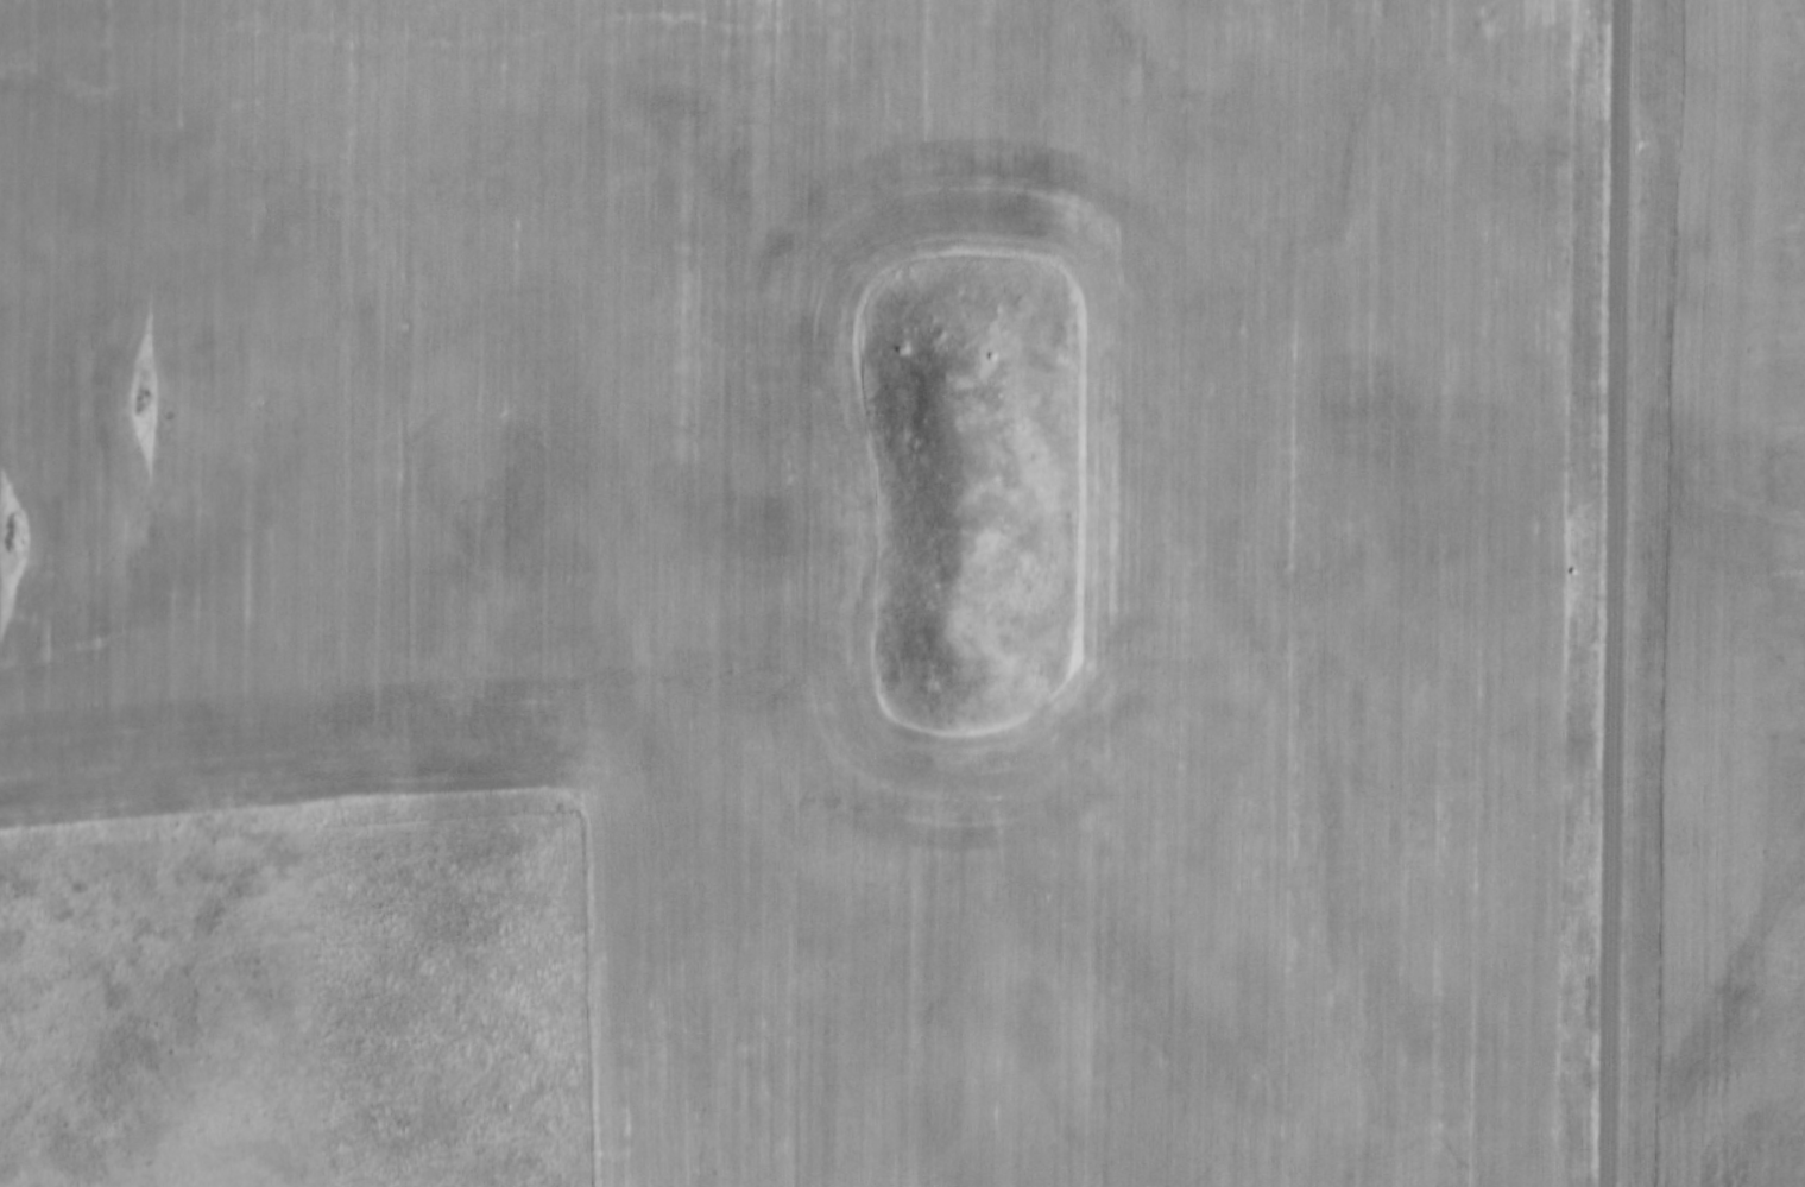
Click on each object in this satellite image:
road: (1623, 593)

